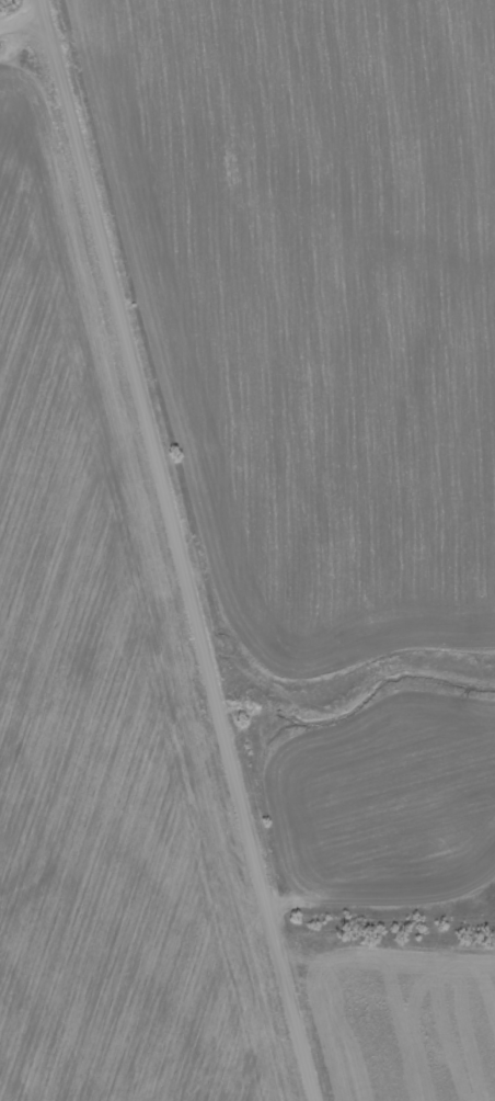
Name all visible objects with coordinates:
road: (22, 25)
road: (187, 553)

